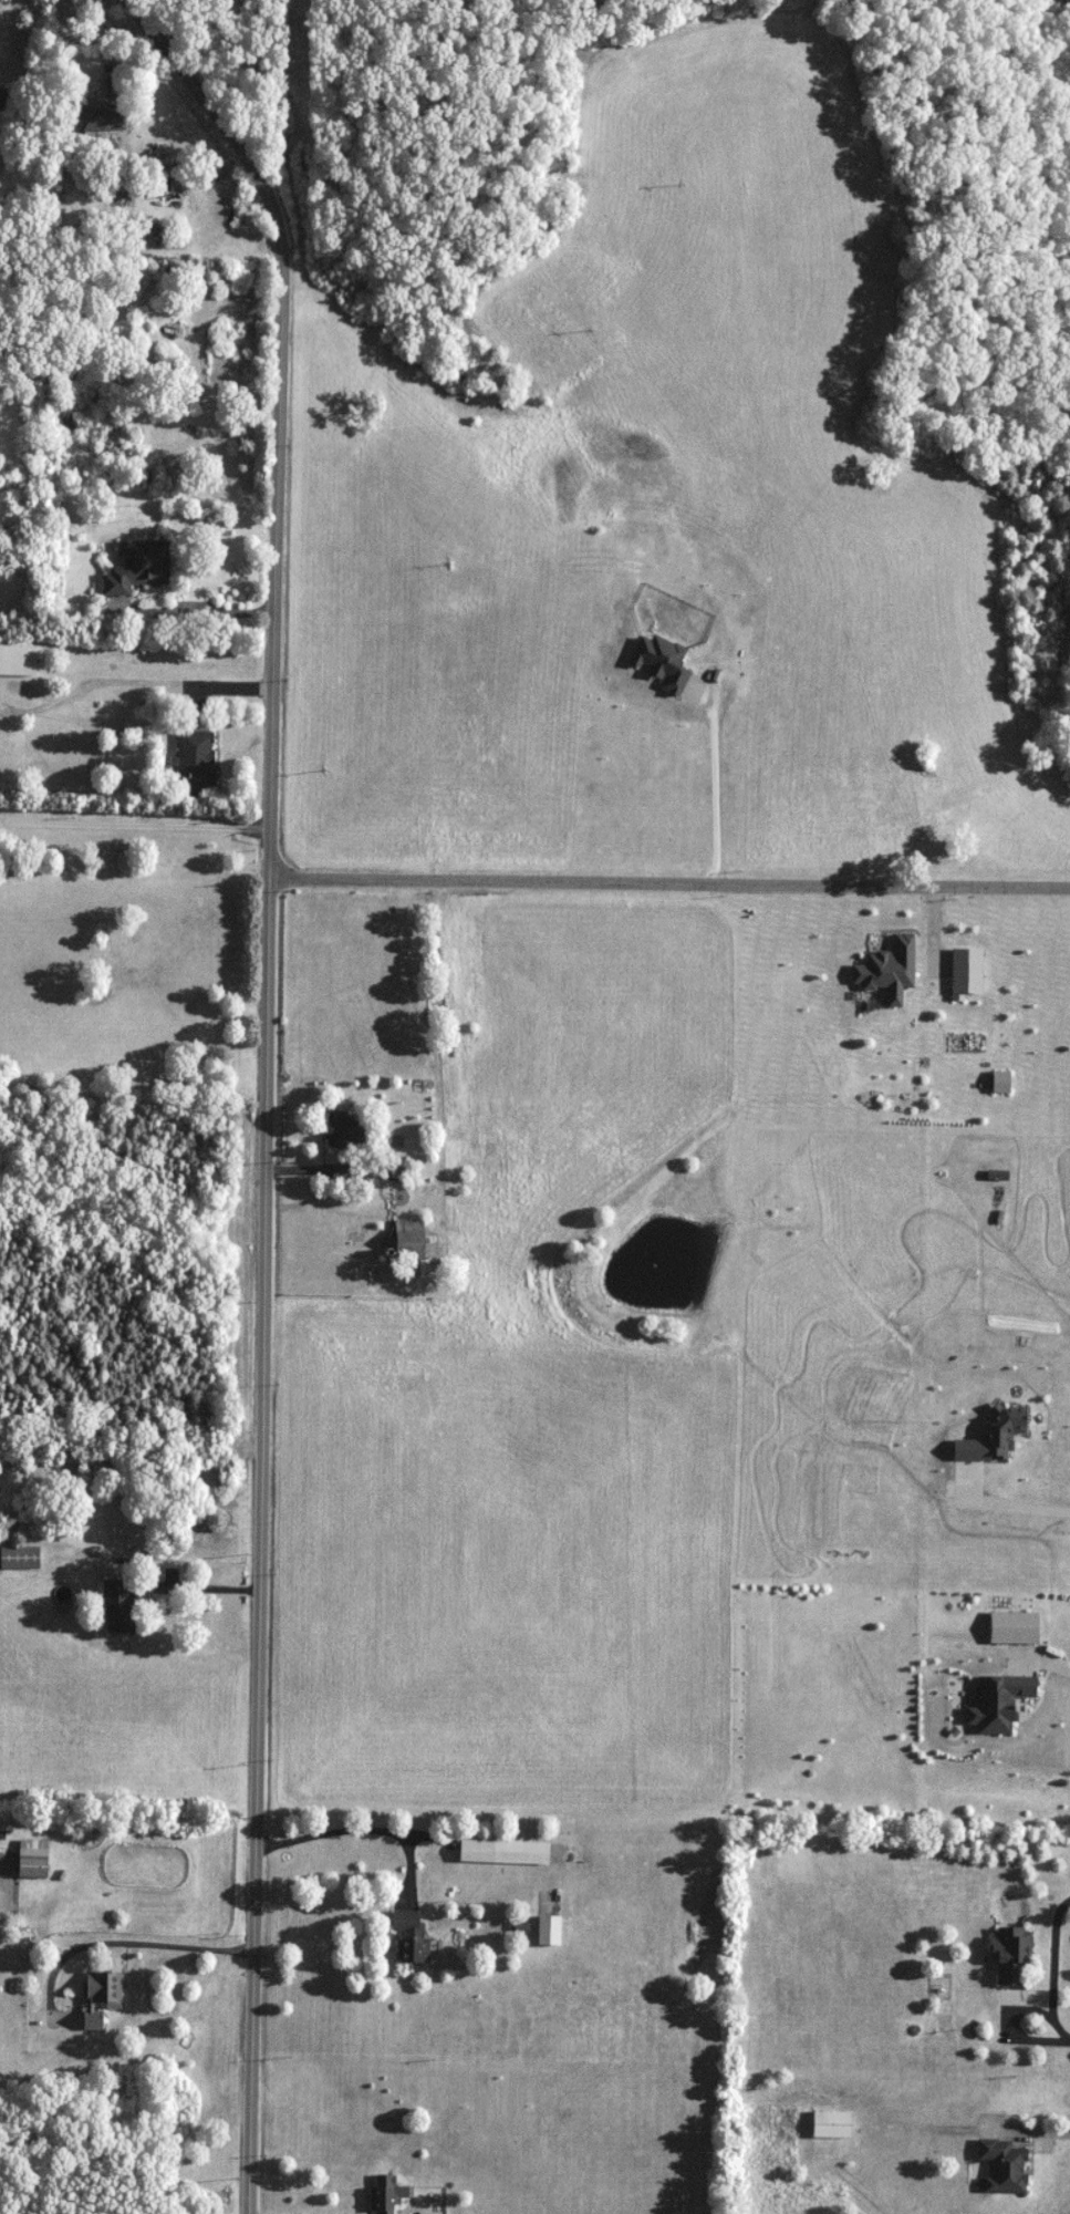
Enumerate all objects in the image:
road: (61, 60)
building: (3, 99)
building: (103, 117)
building: (0, 158)
building: (139, 567)
road: (197, 611)
building: (18, 660)
road: (219, 686)
building: (197, 761)
road: (708, 777)
road: (135, 825)
road: (669, 881)
road: (266, 1082)
building: (344, 1130)
building: (411, 1241)
building: (20, 1558)
road: (199, 1586)
building: (120, 1605)
road: (357, 1827)
building: (505, 1850)
building: (33, 1861)
building: (549, 1930)
building: (412, 1935)
road: (121, 1939)
building: (1011, 1954)
road: (1052, 1966)
building: (102, 1995)
building: (832, 2124)
road: (1037, 2130)
building: (1005, 2165)
building: (386, 2194)

